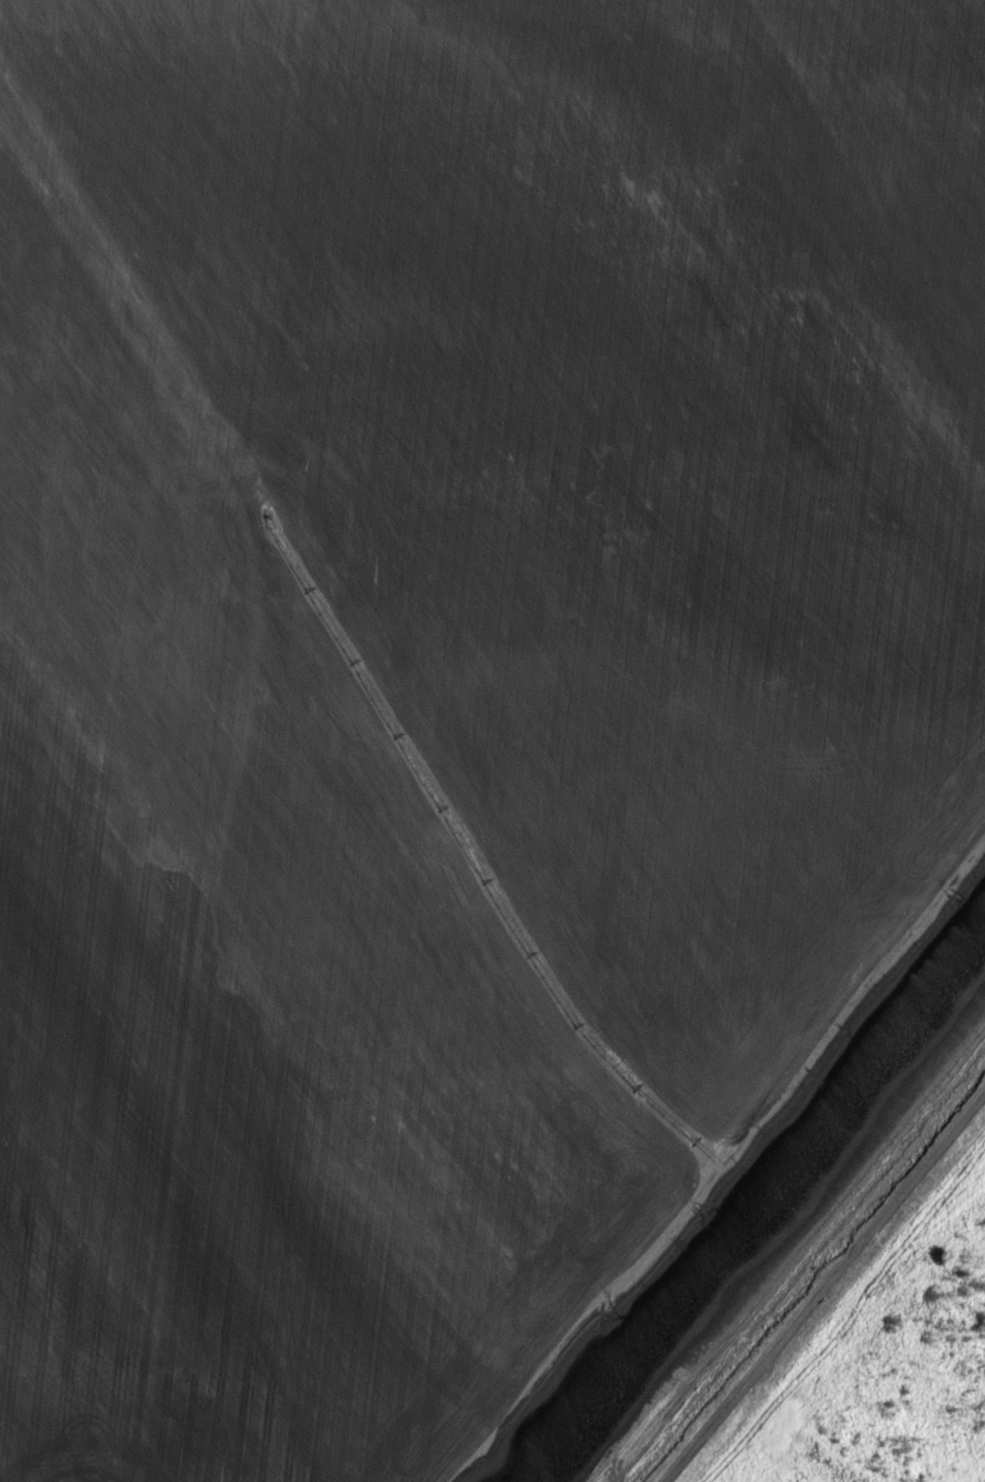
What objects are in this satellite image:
road: (914, 8)
road: (824, 1287)

